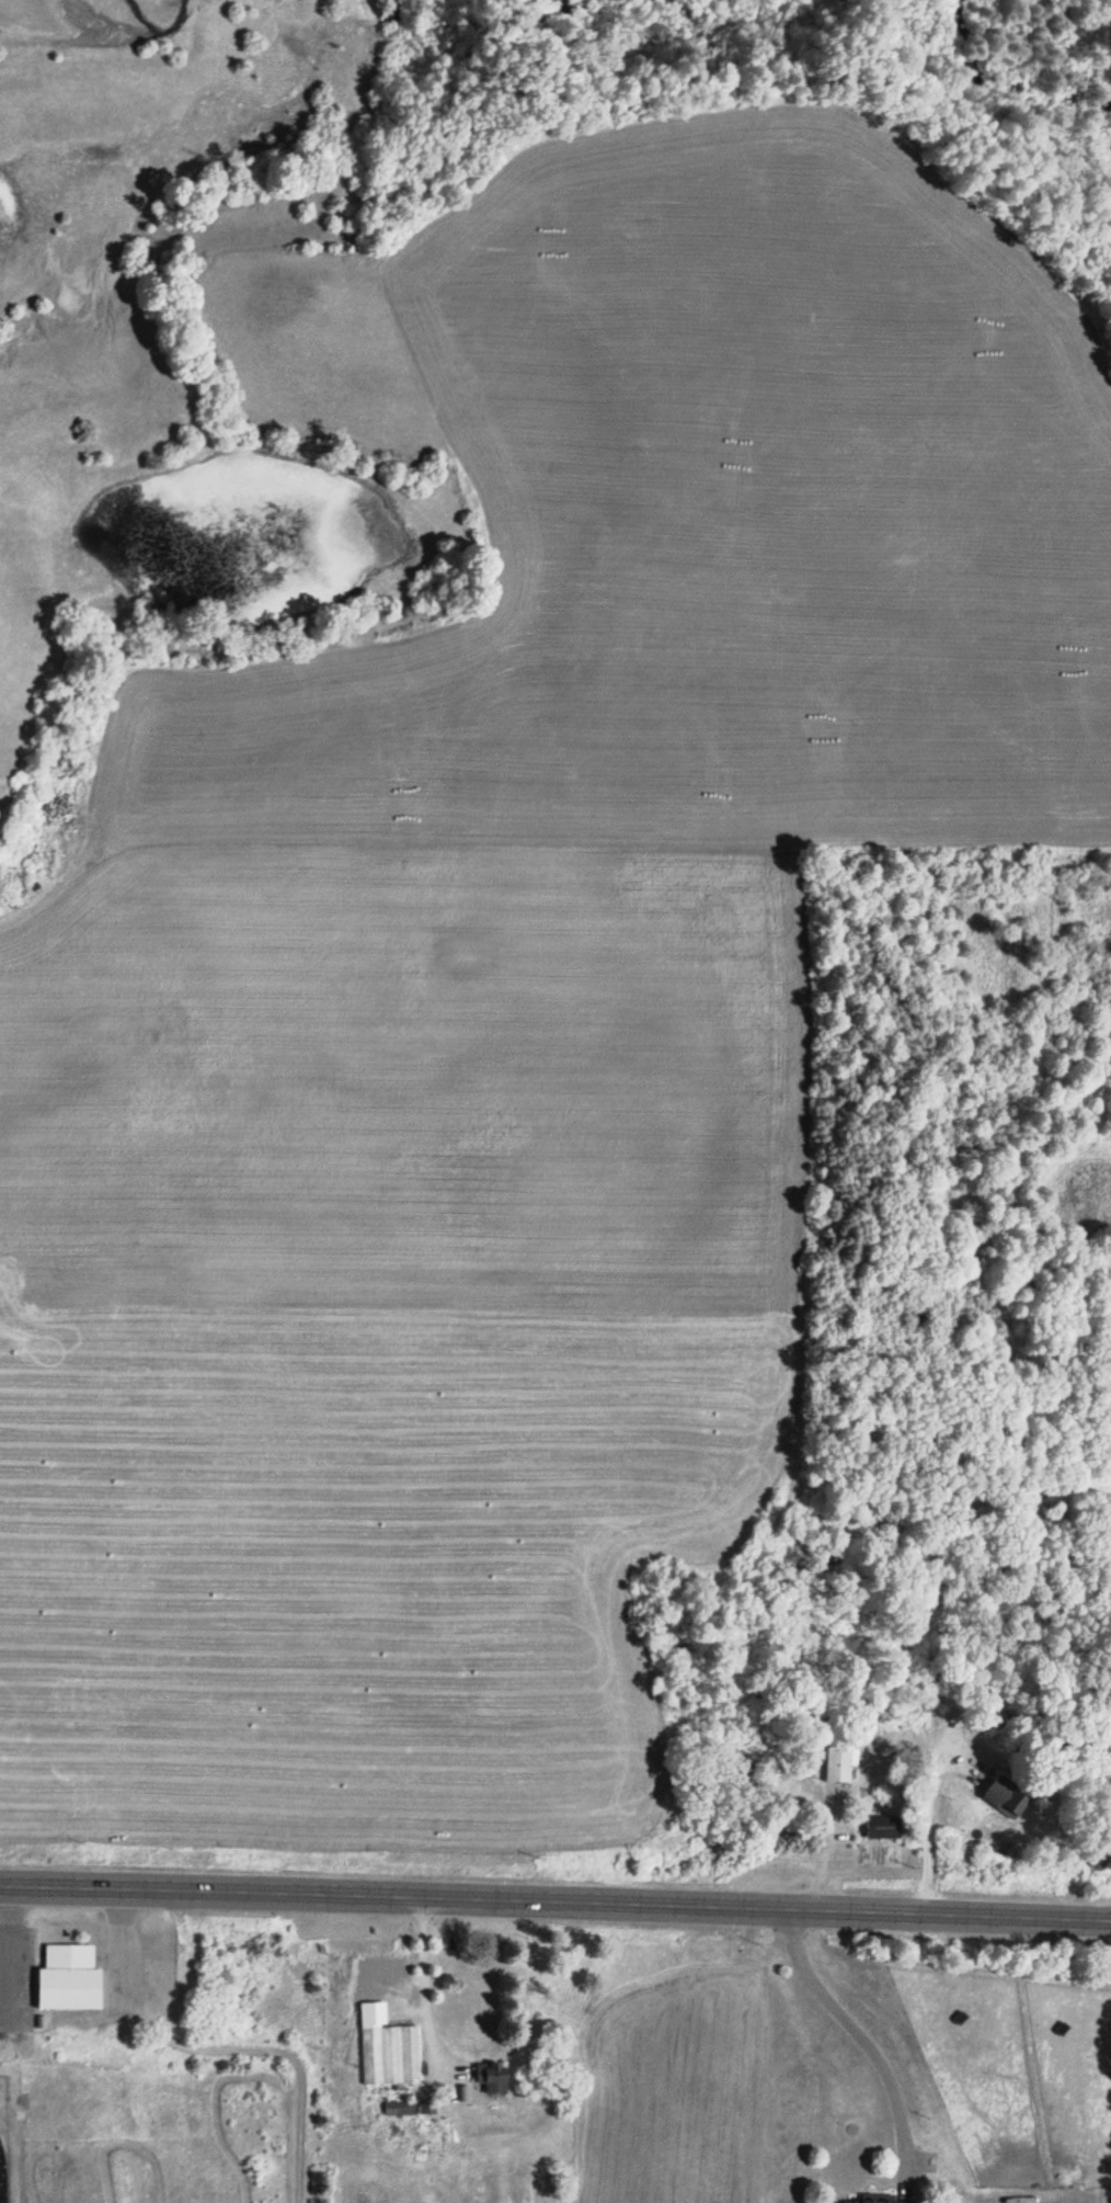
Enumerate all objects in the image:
building: (837, 1765)
building: (1004, 1797)
building: (883, 1827)
road: (555, 1899)
building: (65, 1969)
building: (493, 2078)
building: (401, 2110)
building: (886, 2201)

